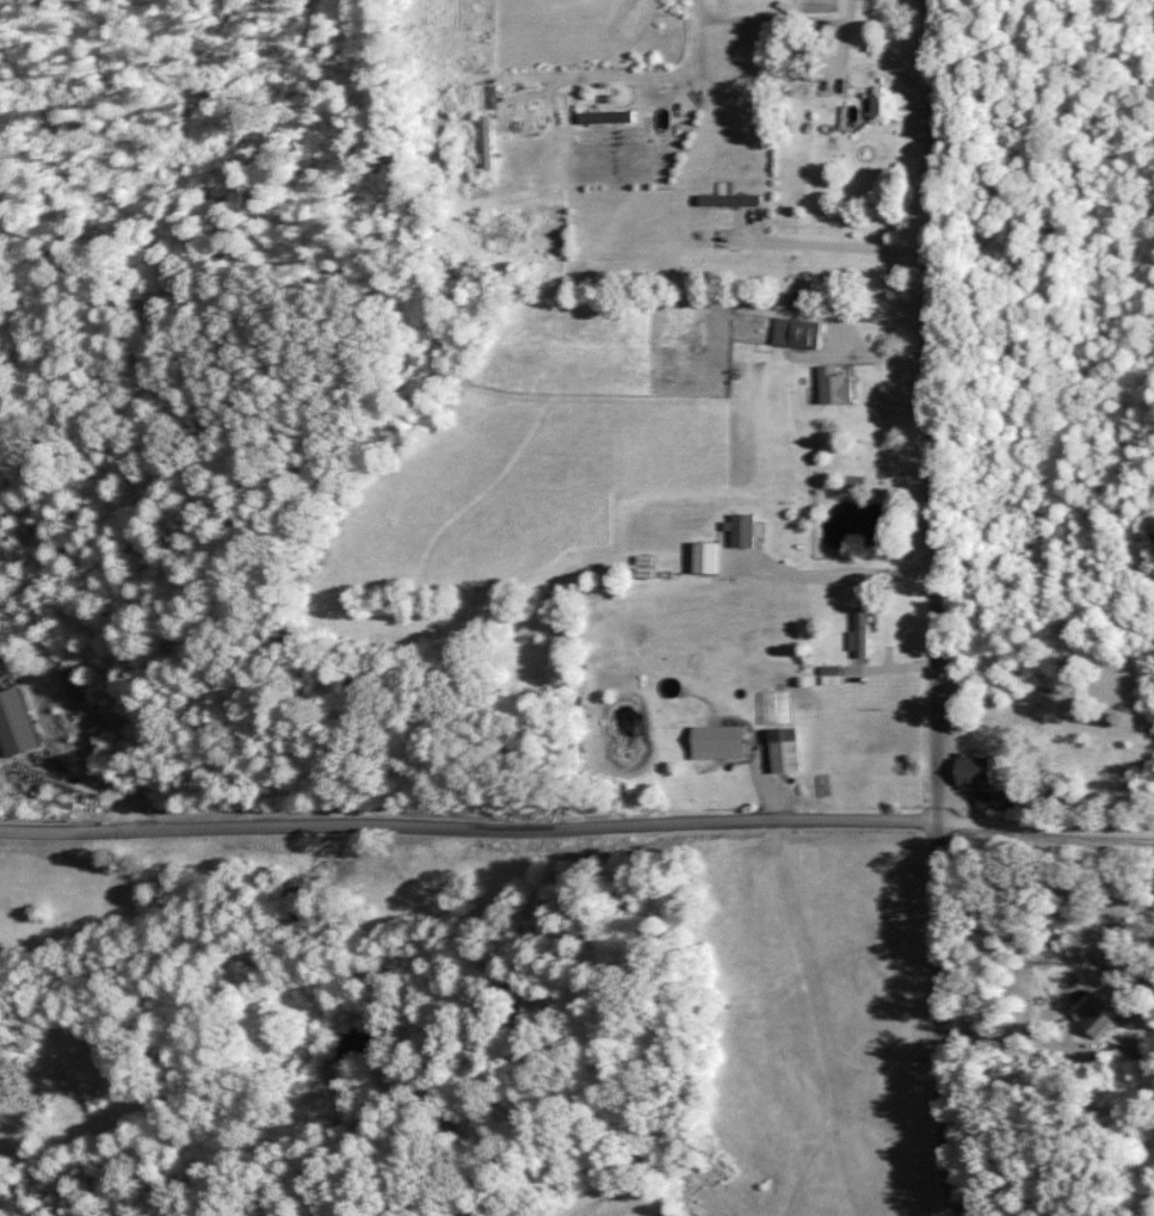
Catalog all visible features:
building: (880, 105)
building: (601, 117)
building: (483, 142)
building: (726, 199)
building: (794, 333)
building: (831, 383)
road: (588, 452)
building: (739, 530)
building: (702, 557)
road: (937, 609)
building: (858, 631)
building: (73, 689)
building: (13, 723)
building: (780, 749)
building: (970, 771)
road: (576, 826)
building: (1090, 1017)

